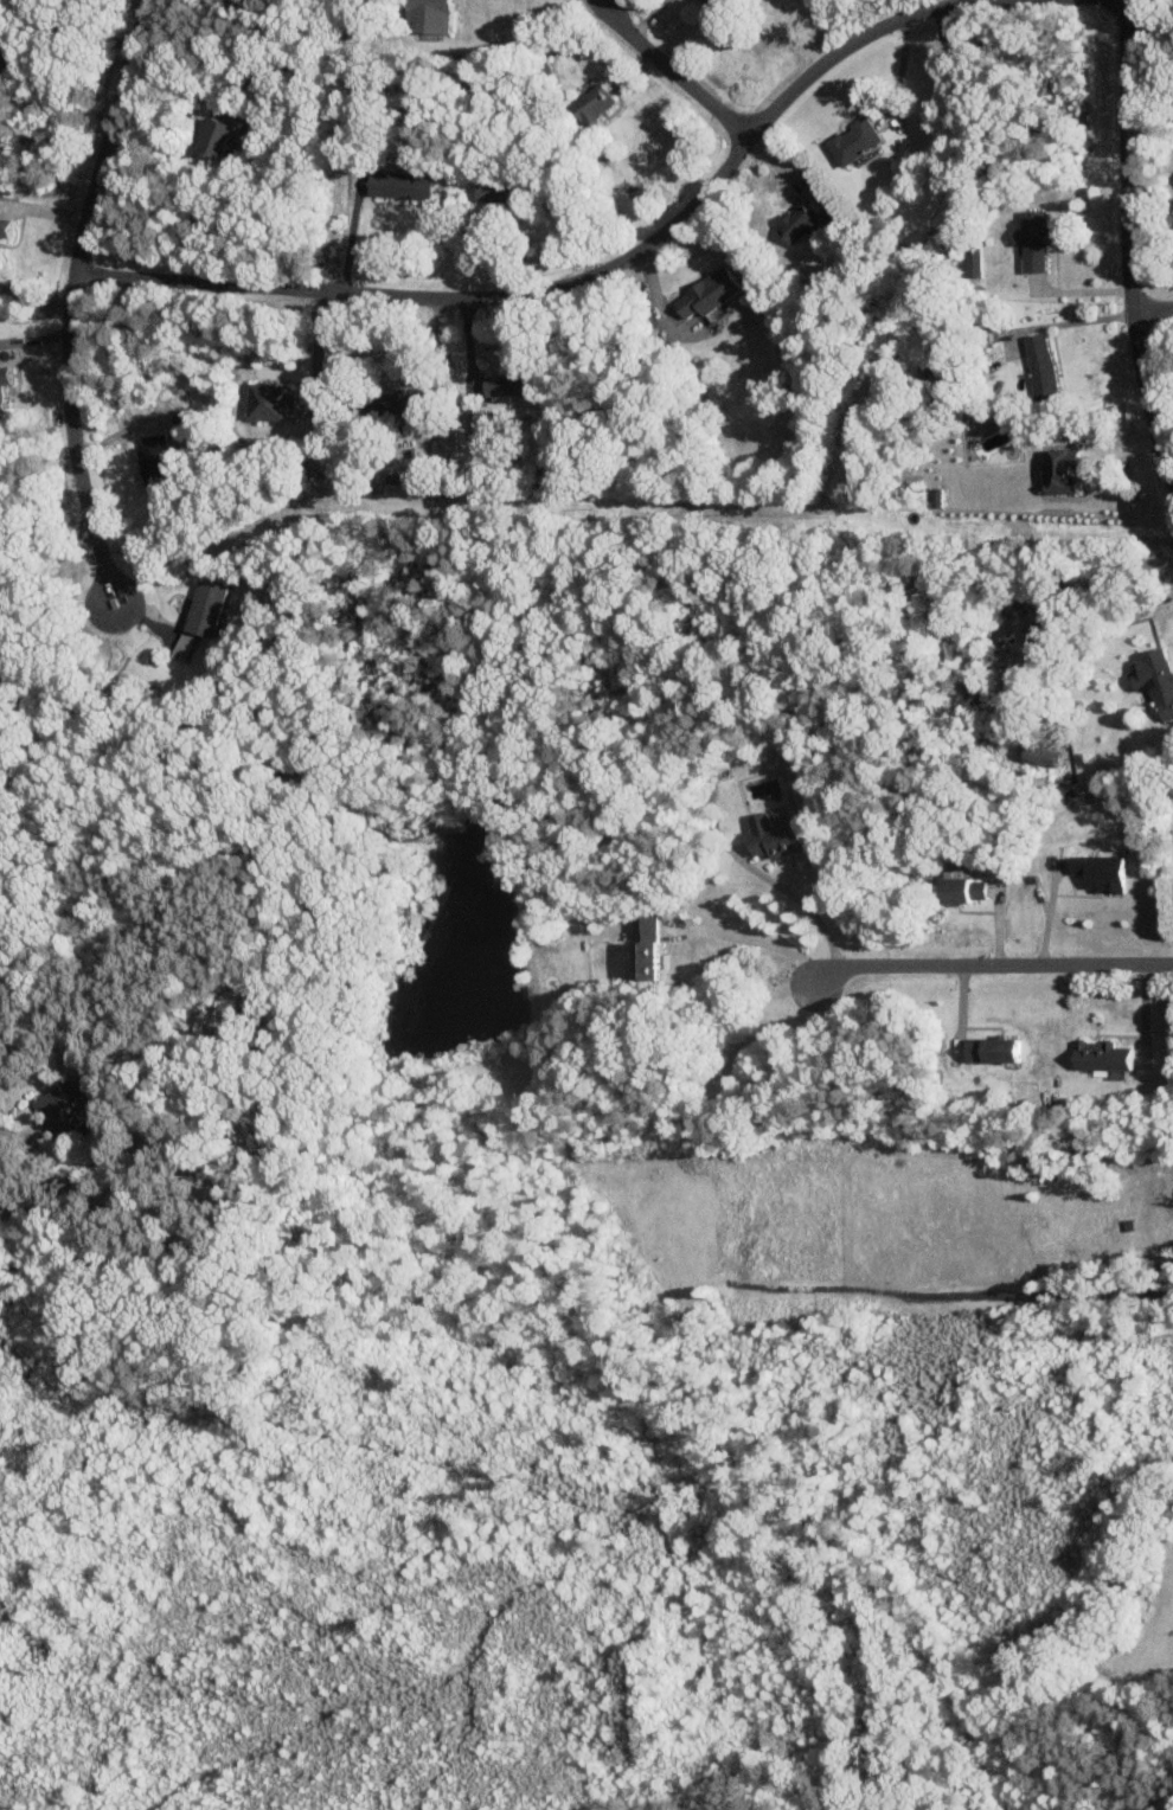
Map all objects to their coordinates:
building: (710, 1)
road: (954, 2)
building: (428, 15)
road: (75, 28)
building: (8, 54)
road: (898, 73)
road: (674, 75)
building: (591, 104)
building: (217, 133)
building: (852, 141)
building: (398, 185)
building: (495, 190)
building: (794, 223)
building: (5, 226)
road: (350, 236)
building: (1032, 240)
road: (1127, 245)
road: (591, 271)
road: (36, 294)
building: (705, 294)
road: (69, 313)
road: (1153, 313)
road: (1069, 321)
road: (320, 349)
road: (435, 360)
building: (1040, 368)
building: (502, 384)
building: (4, 385)
building: (271, 402)
building: (392, 402)
building: (479, 418)
building: (153, 461)
building: (1059, 470)
building: (400, 477)
building: (204, 609)
building: (1037, 633)
building: (181, 646)
building: (1155, 681)
building: (771, 834)
building: (1098, 871)
building: (962, 888)
road: (793, 898)
road: (1046, 911)
road: (746, 937)
building: (645, 945)
road: (988, 967)
building: (991, 1048)
building: (1102, 1057)
building: (69, 1109)

